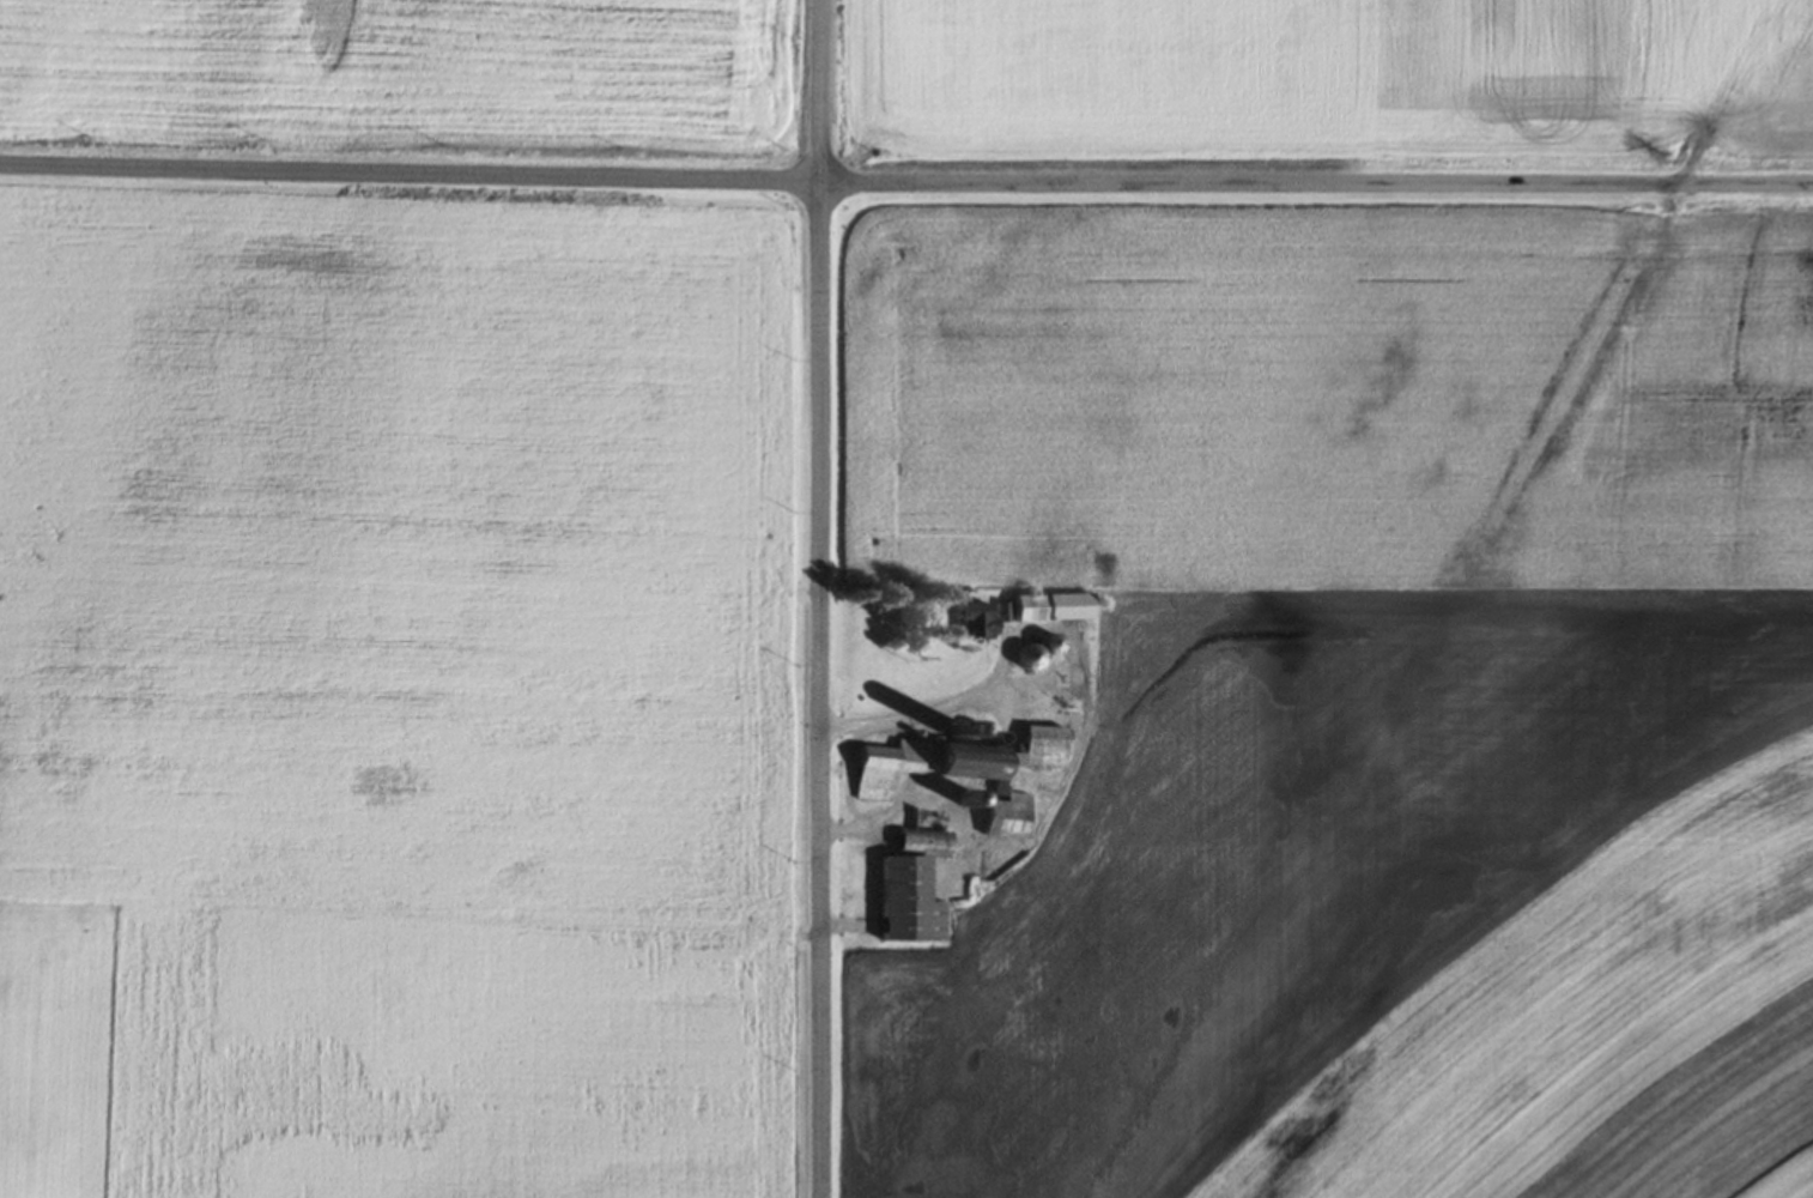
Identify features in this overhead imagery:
road: (410, 174)
road: (1316, 183)
road: (819, 598)
building: (1043, 607)
building: (966, 619)
building: (1030, 652)
building: (959, 772)
building: (906, 888)

